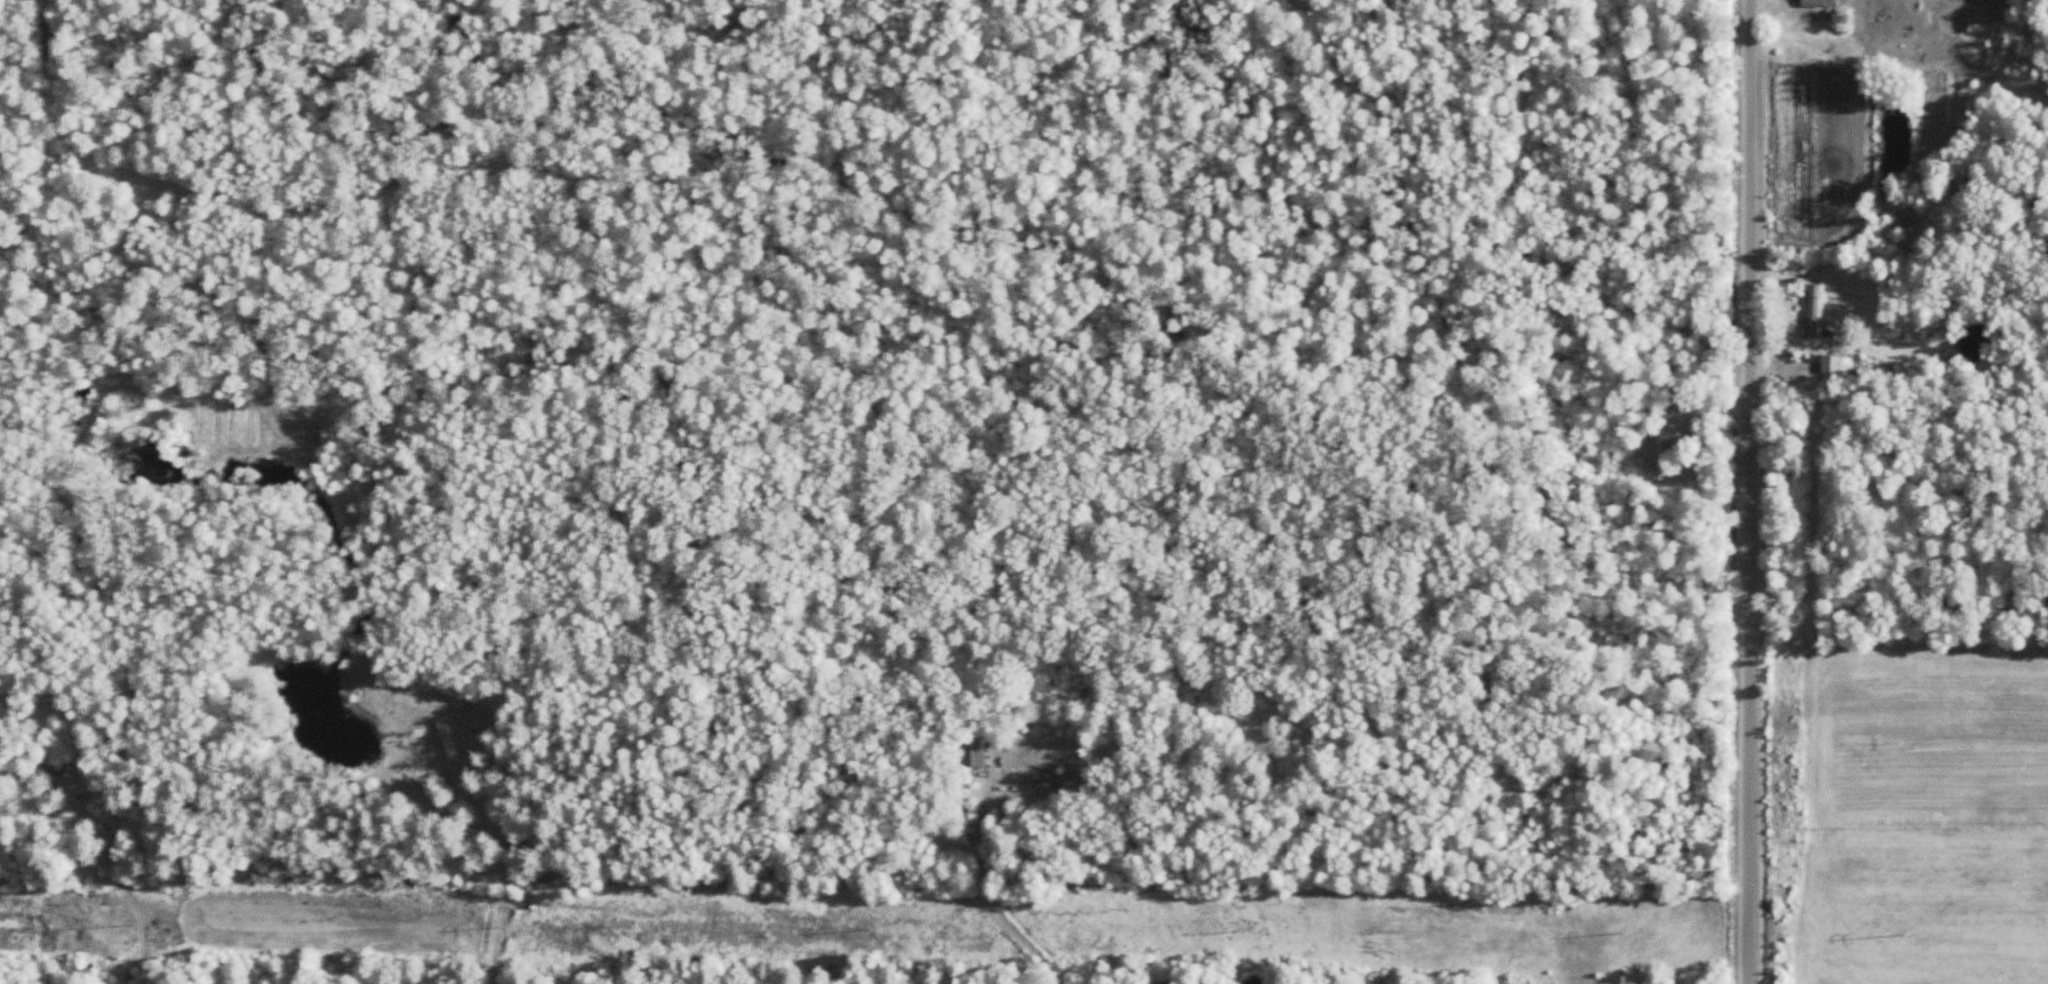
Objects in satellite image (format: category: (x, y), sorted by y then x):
building: (1817, 4)
building: (1814, 312)
building: (1831, 370)
building: (1659, 455)
road: (1751, 492)
building: (972, 753)
building: (52, 771)
building: (1053, 779)

